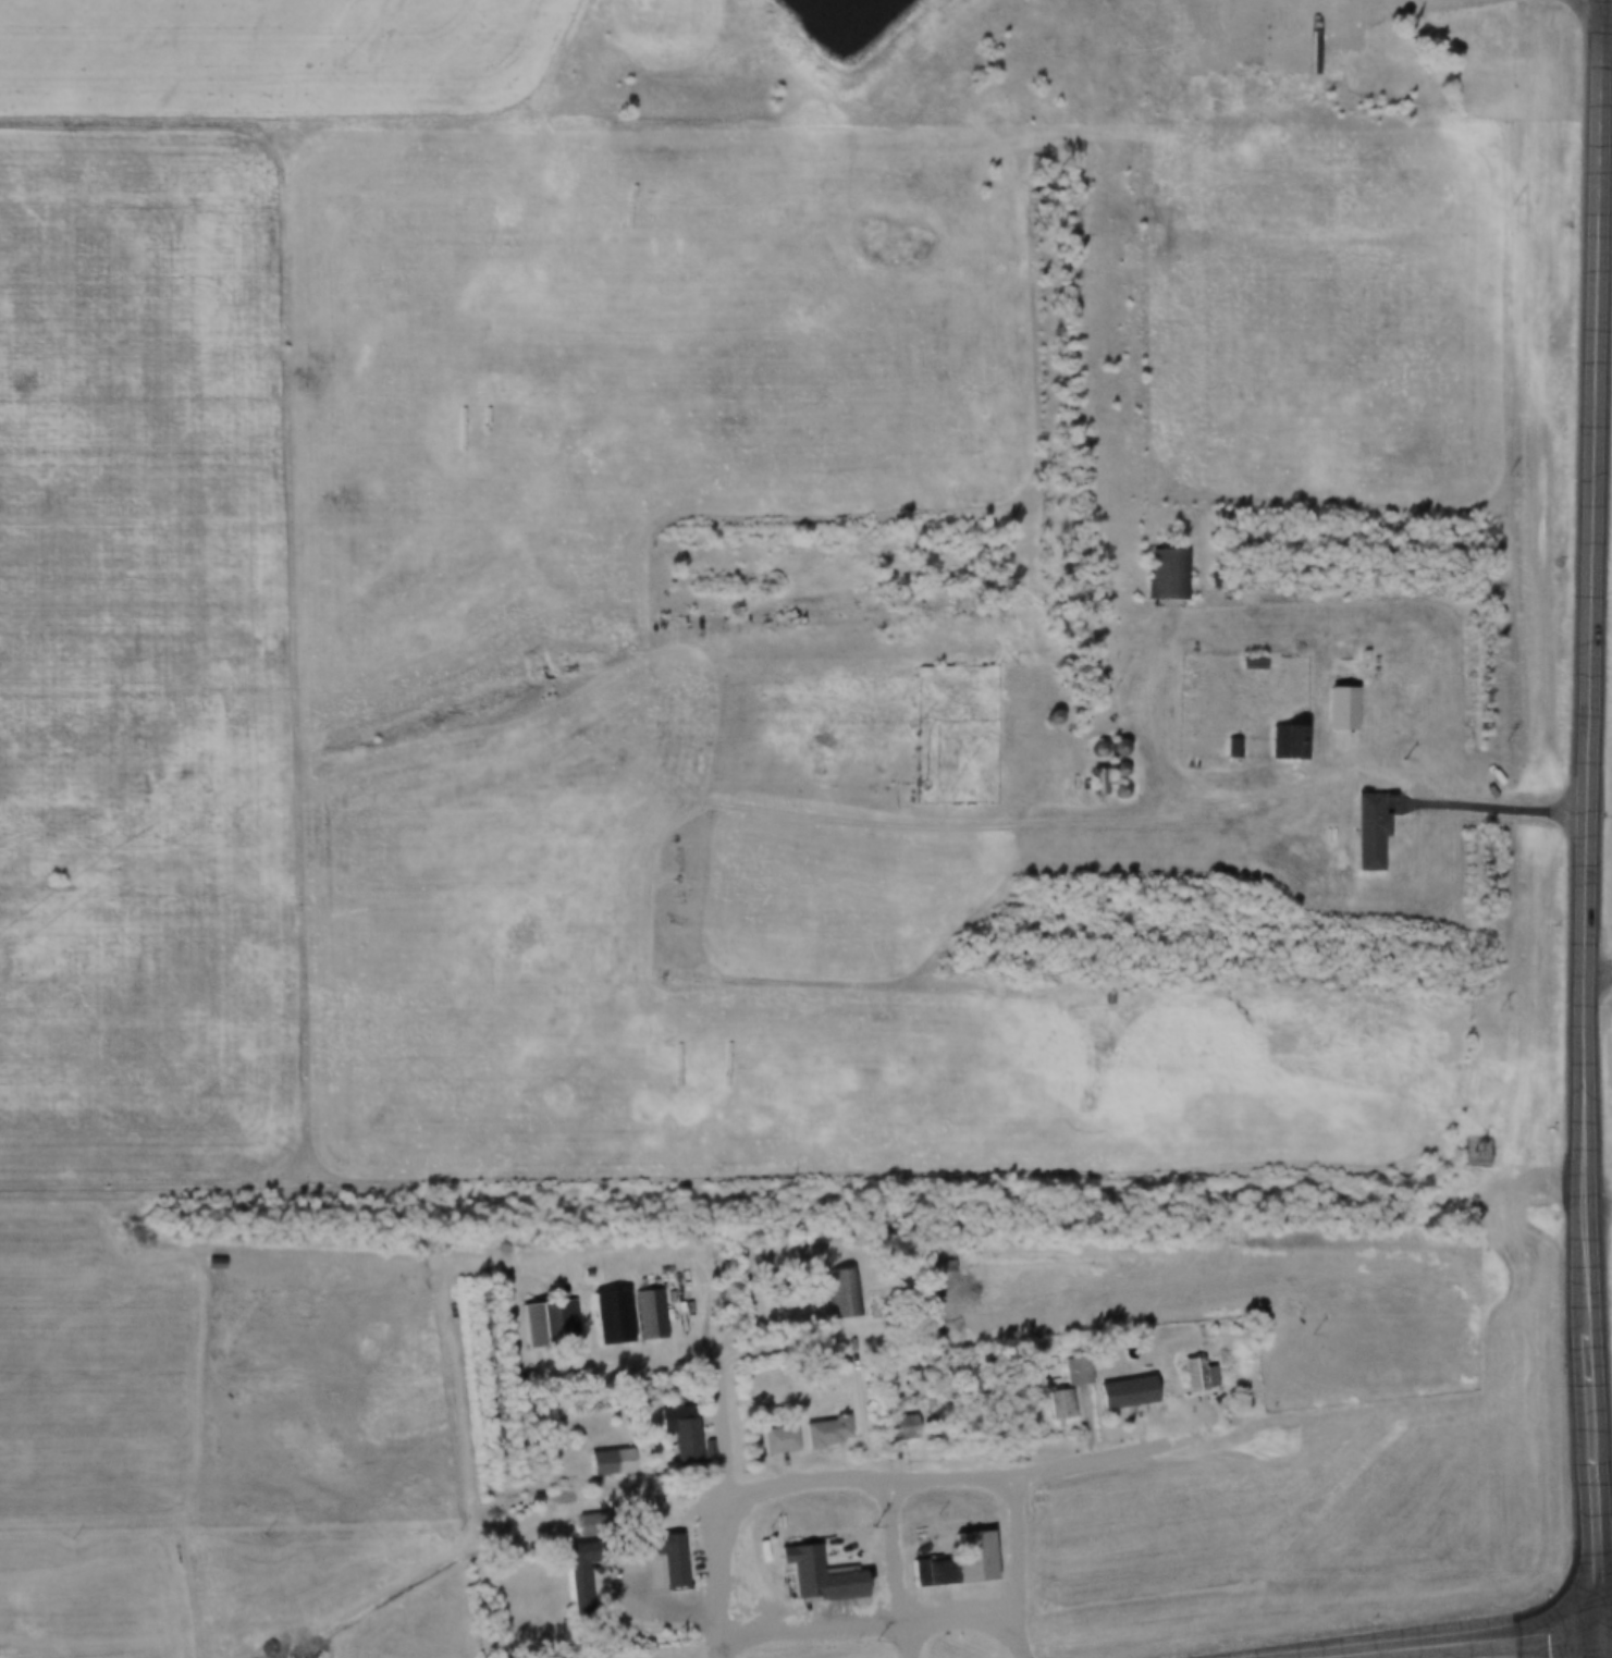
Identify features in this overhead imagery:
road: (1593, 408)
building: (1169, 572)
building: (1350, 708)
building: (1293, 741)
building: (1234, 747)
building: (1103, 781)
road: (1306, 786)
building: (1376, 830)
road: (1587, 1238)
building: (218, 1262)
building: (844, 1292)
road: (696, 1294)
building: (653, 1314)
building: (552, 1324)
building: (1204, 1375)
building: (1072, 1387)
building: (1128, 1392)
building: (906, 1426)
building: (830, 1432)
building: (686, 1435)
building: (783, 1439)
building: (617, 1462)
road: (882, 1482)
building: (599, 1523)
building: (679, 1560)
building: (967, 1561)
road: (1019, 1565)
road: (896, 1570)
building: (827, 1575)
road: (724, 1579)
building: (584, 1589)
road: (874, 1614)
road: (1493, 1644)

